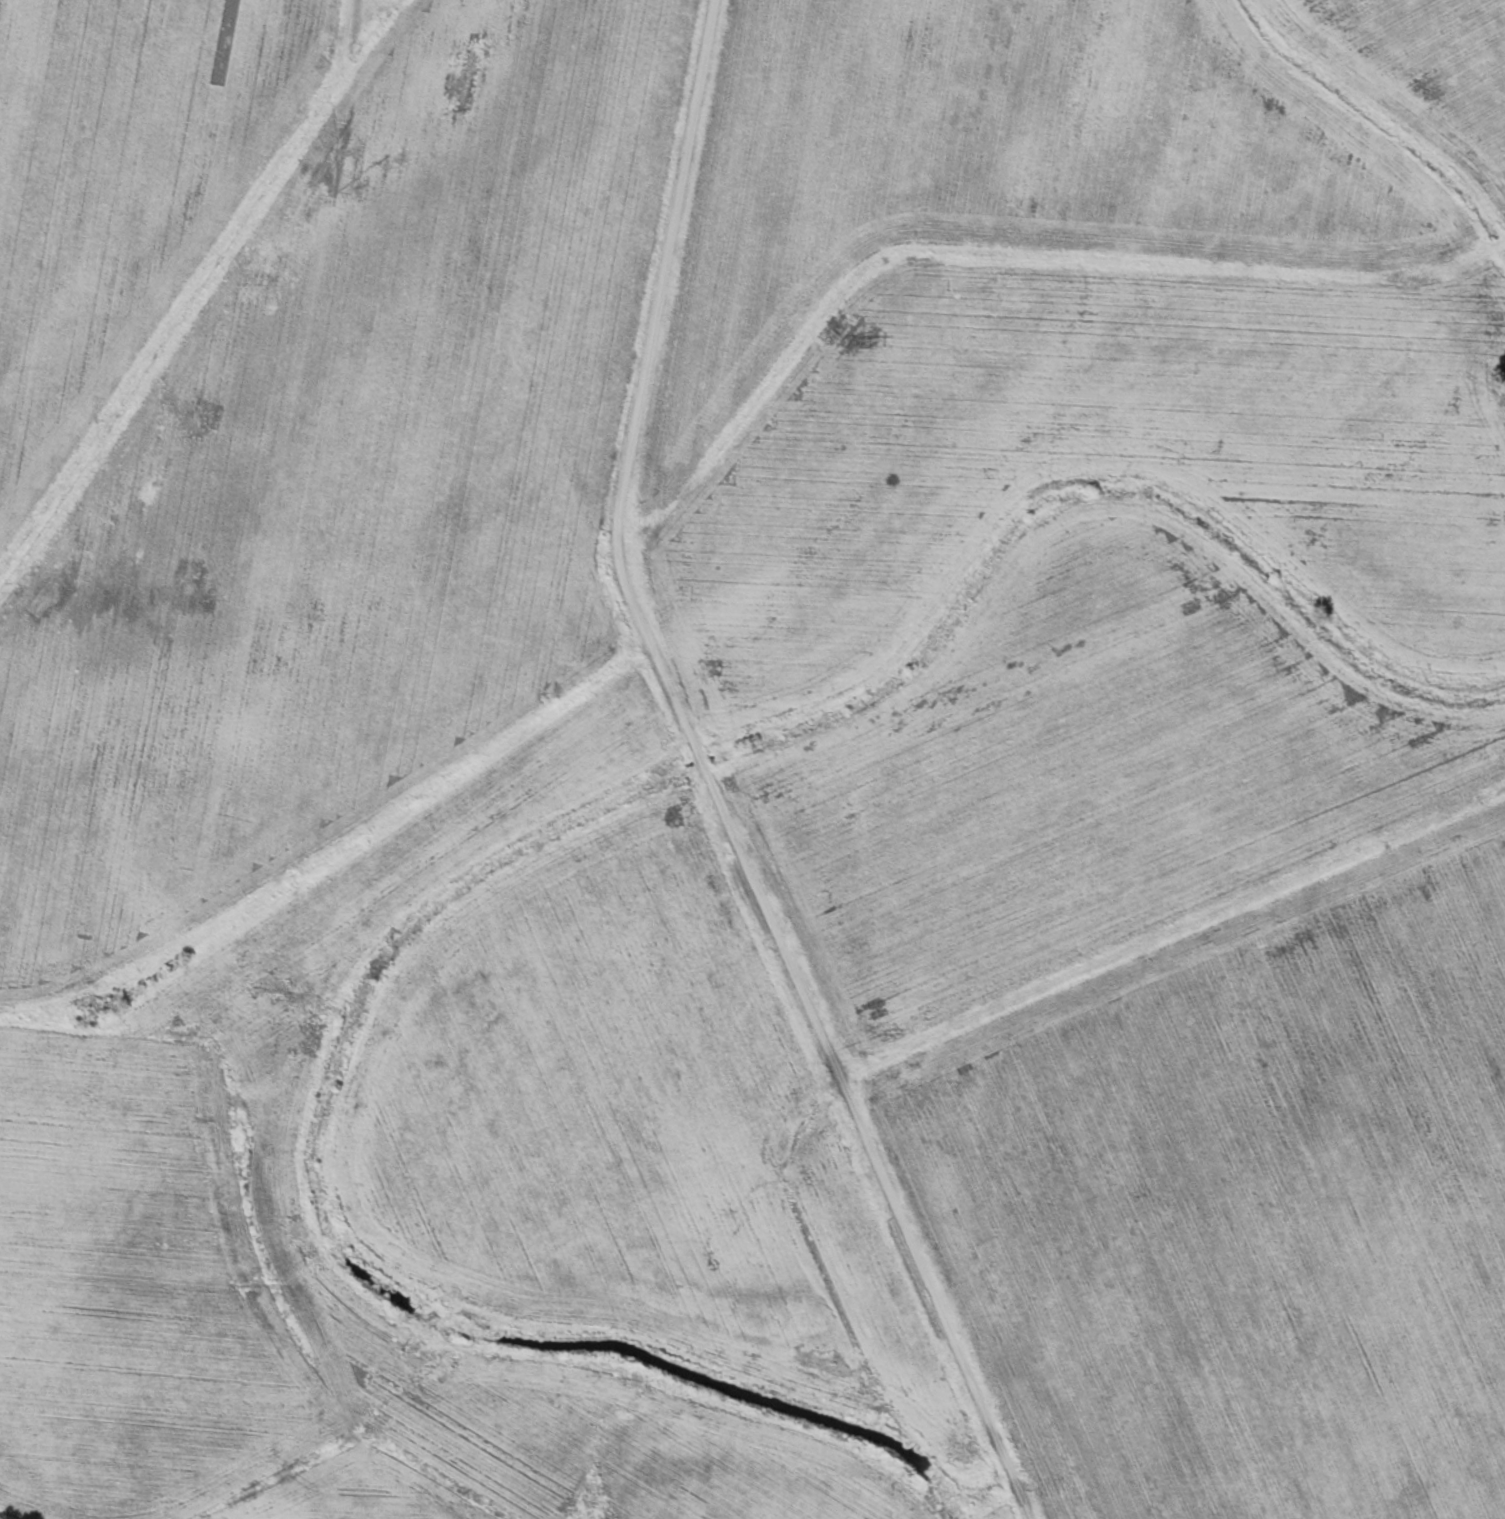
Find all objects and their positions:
road: (845, 316)
road: (712, 780)
road: (1171, 929)

